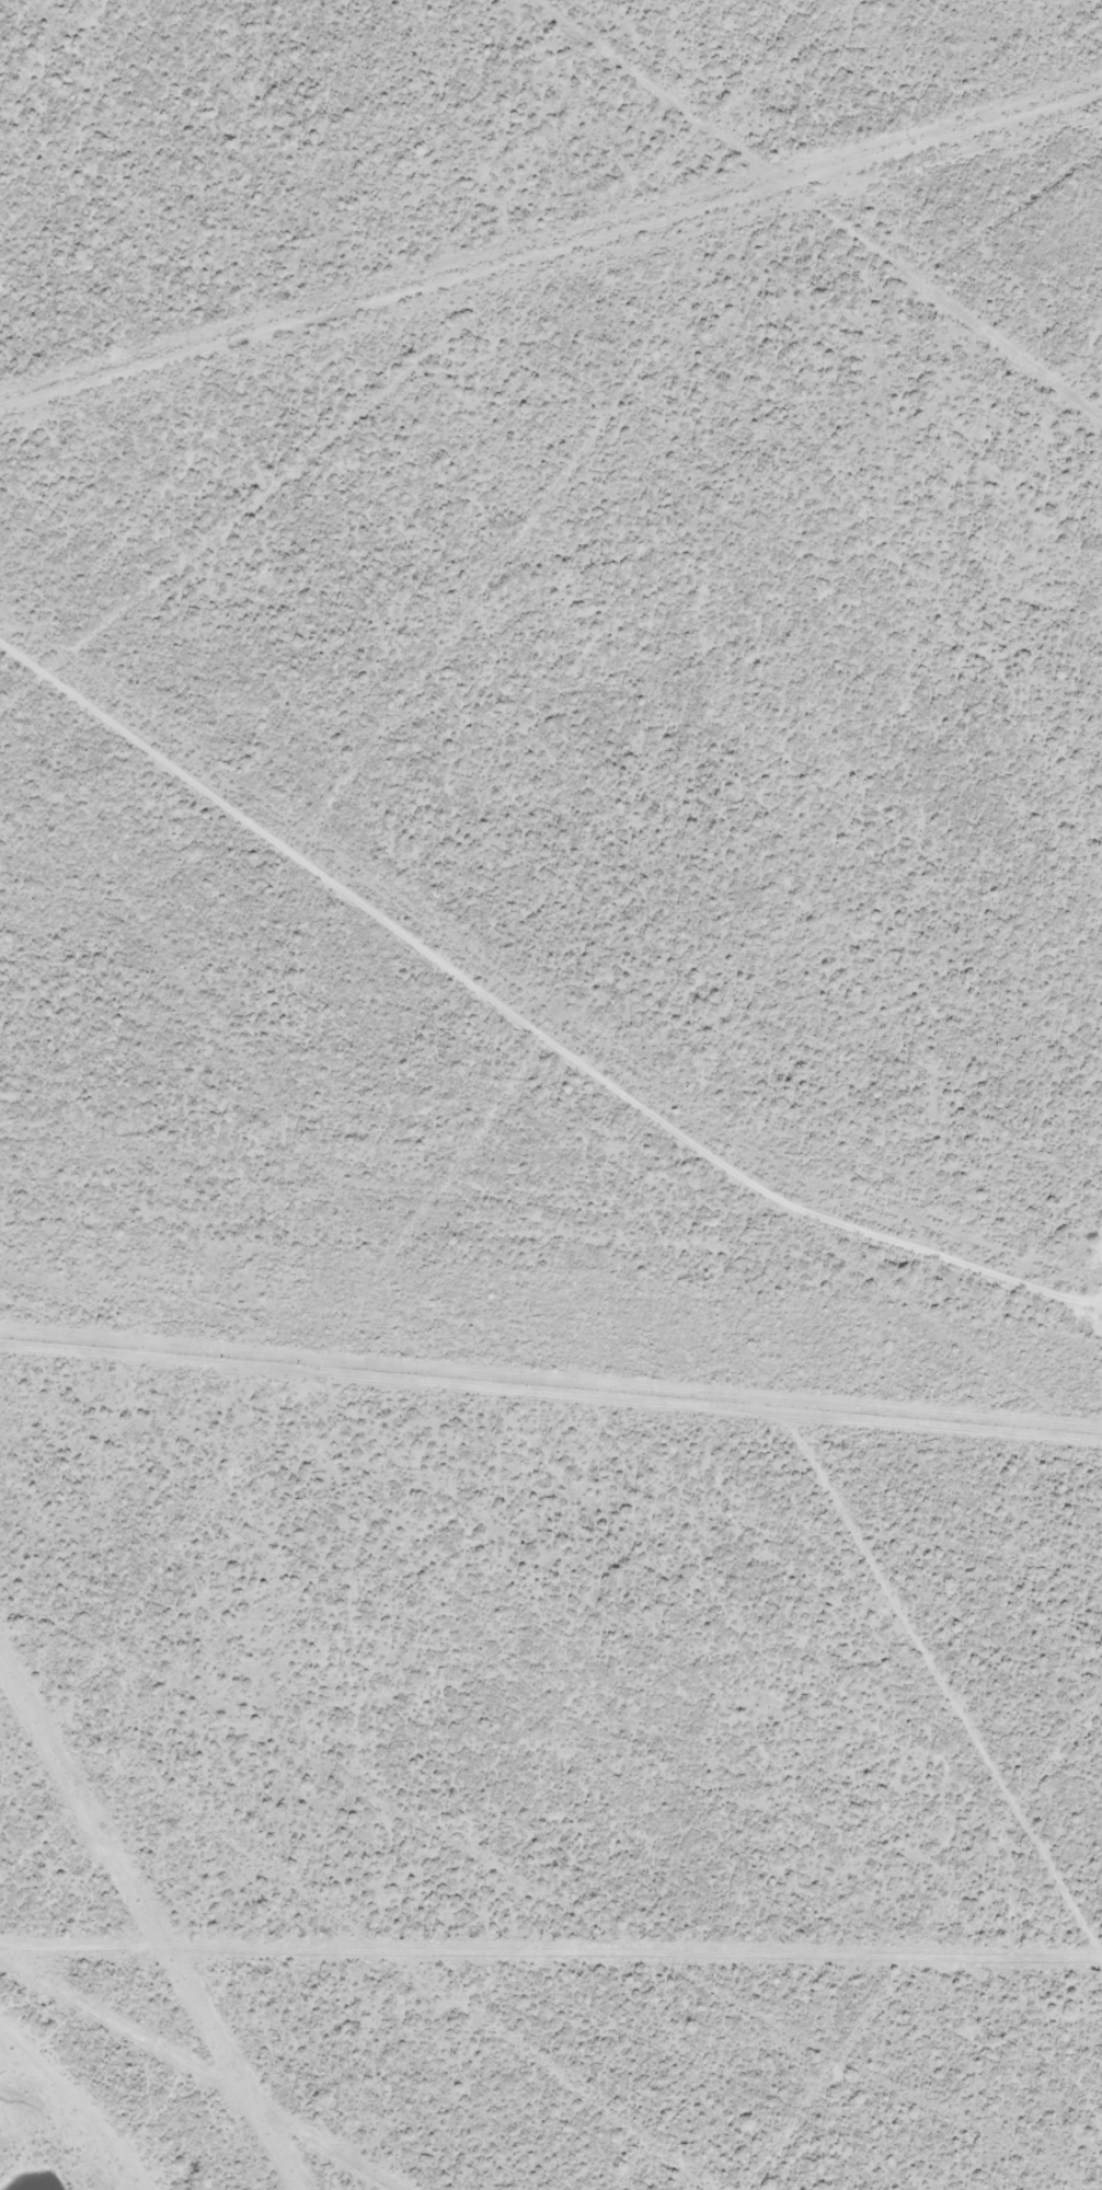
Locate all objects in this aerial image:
road: (50, 2133)

